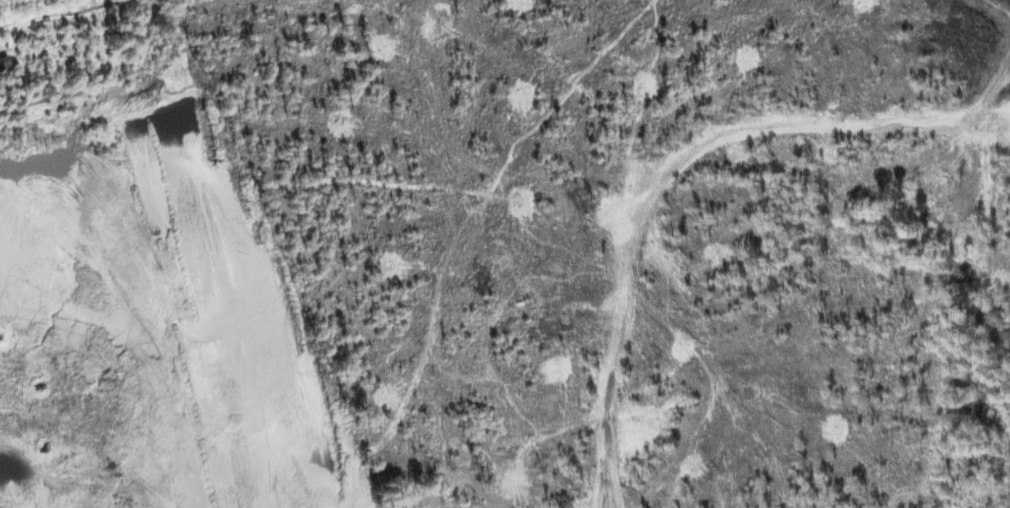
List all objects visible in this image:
road: (46, 10)
building: (2, 62)

